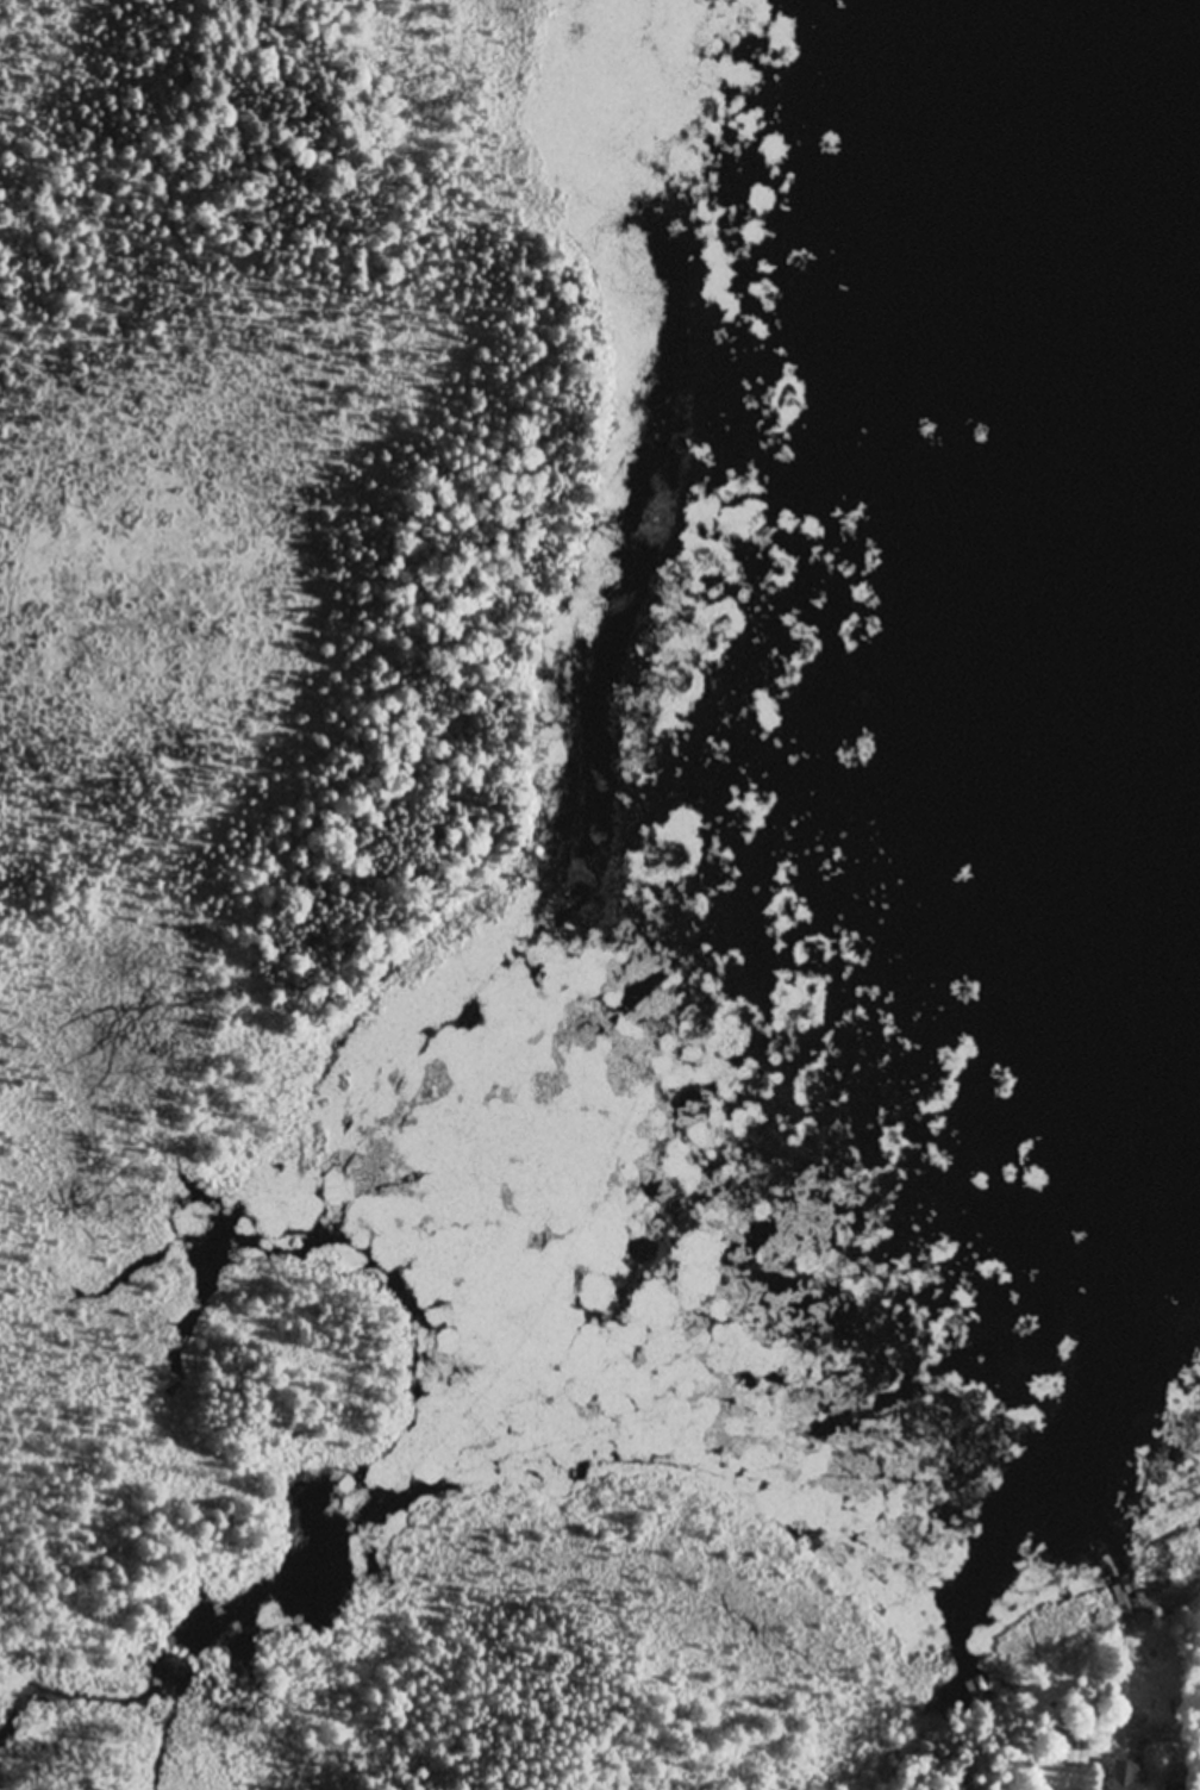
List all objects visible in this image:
road: (1060, 1685)
road: (945, 1753)
building: (1124, 1777)

